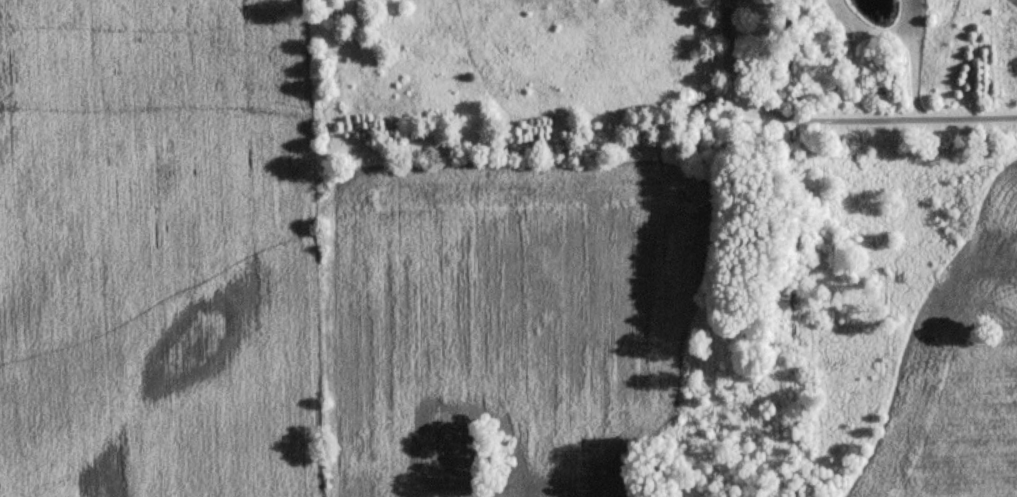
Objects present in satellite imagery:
road: (831, 118)
crop: (156, 248)
crop: (501, 327)
crop: (966, 378)

